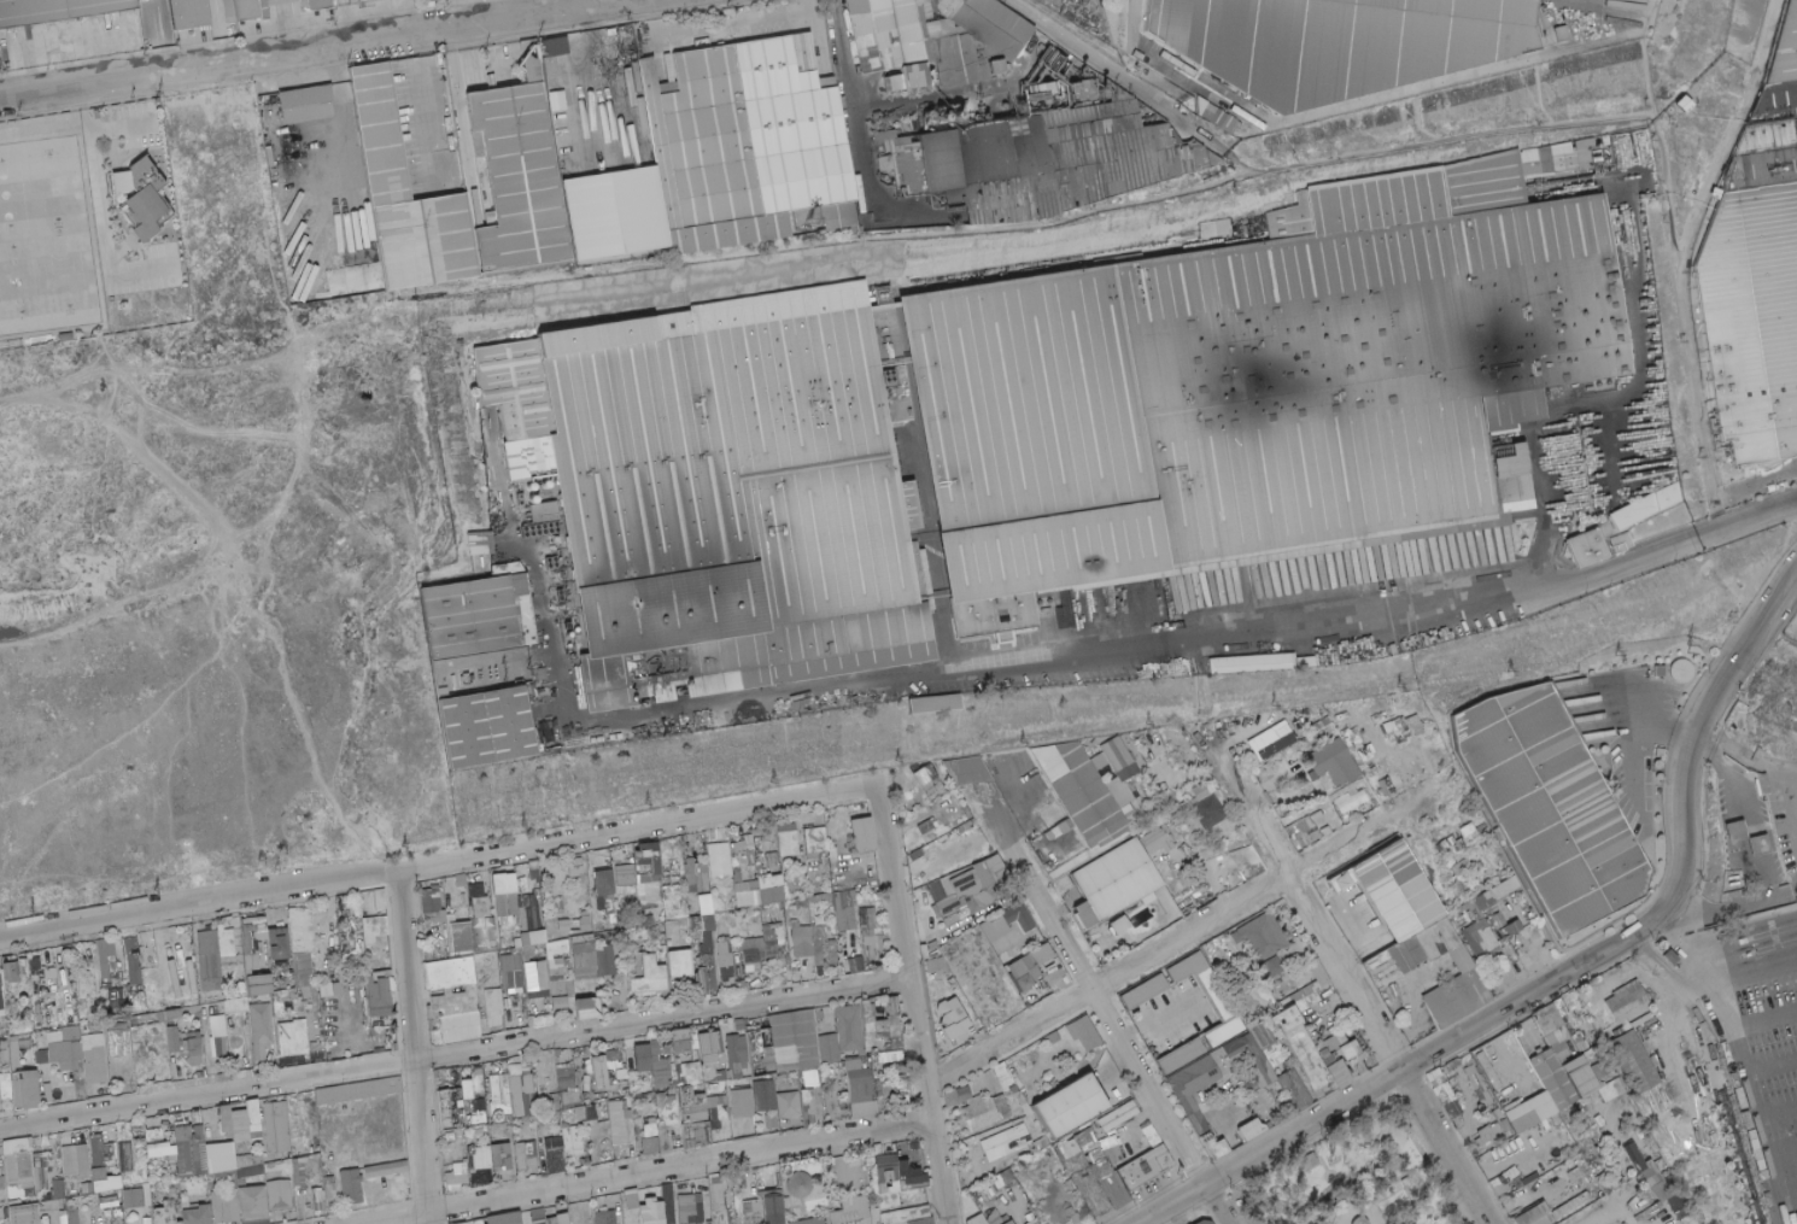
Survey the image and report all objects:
park: (1356, 1179)

